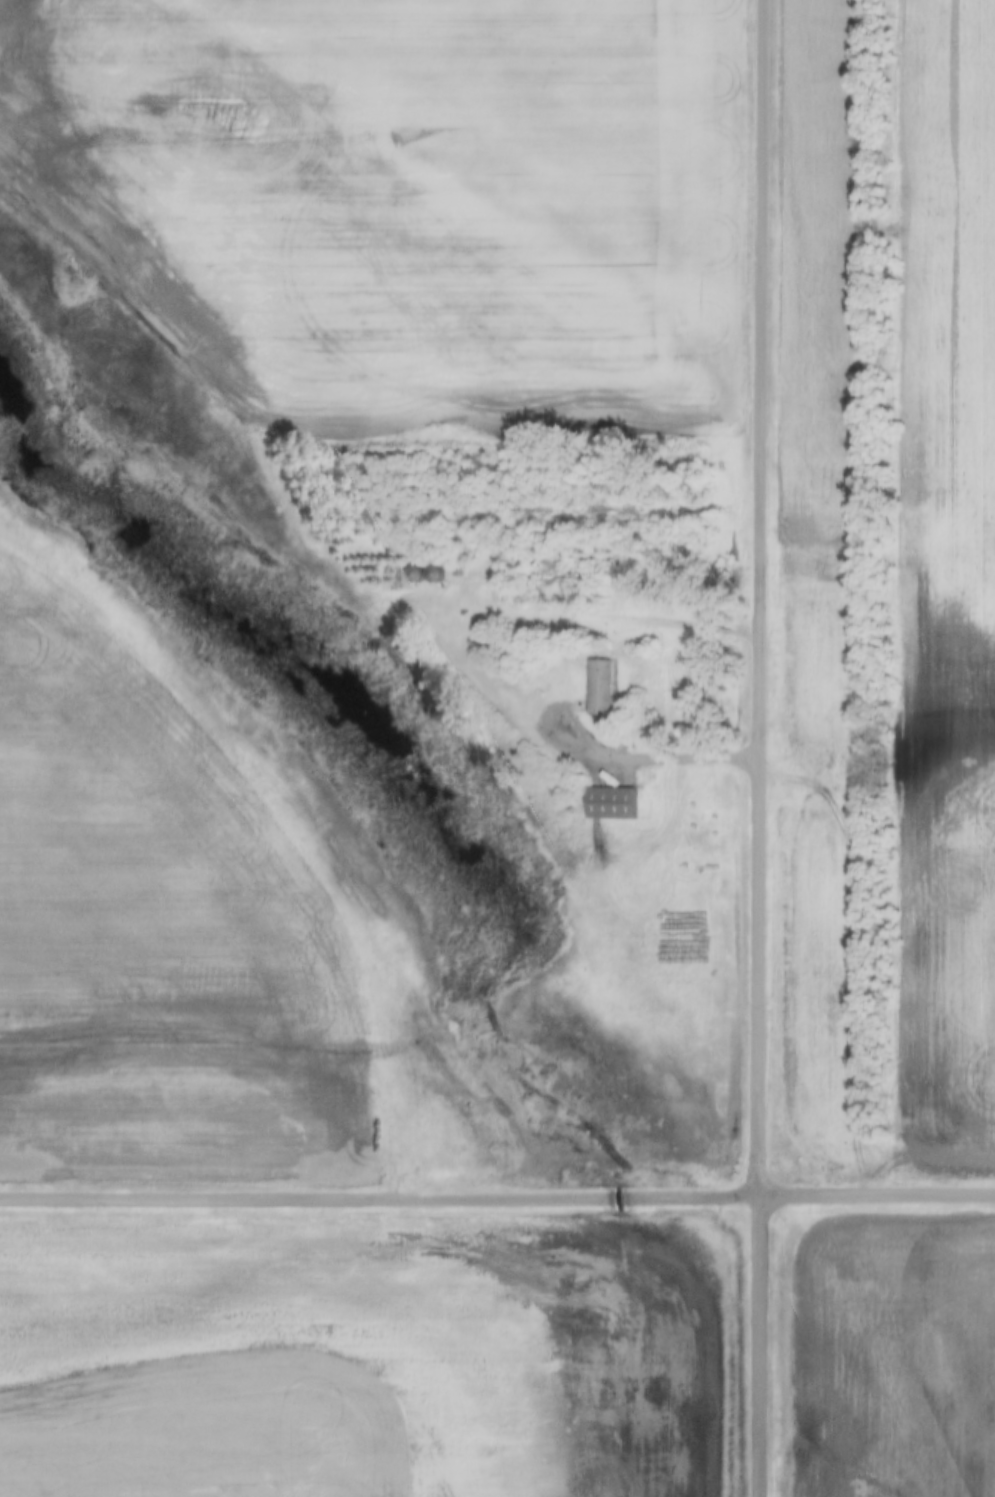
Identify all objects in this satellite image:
building: (598, 692)
road: (758, 748)
road: (651, 761)
building: (612, 806)
road: (497, 1199)

